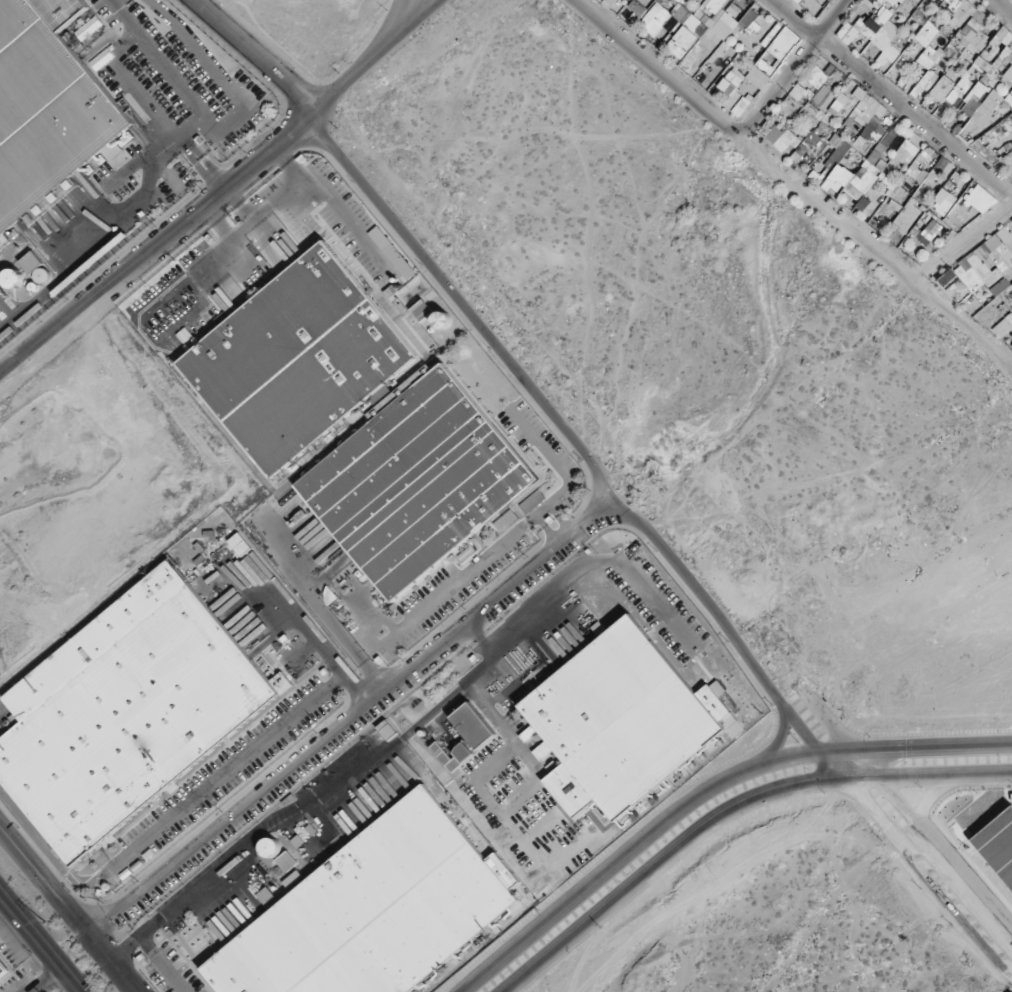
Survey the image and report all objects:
power tower: (36, 921)

